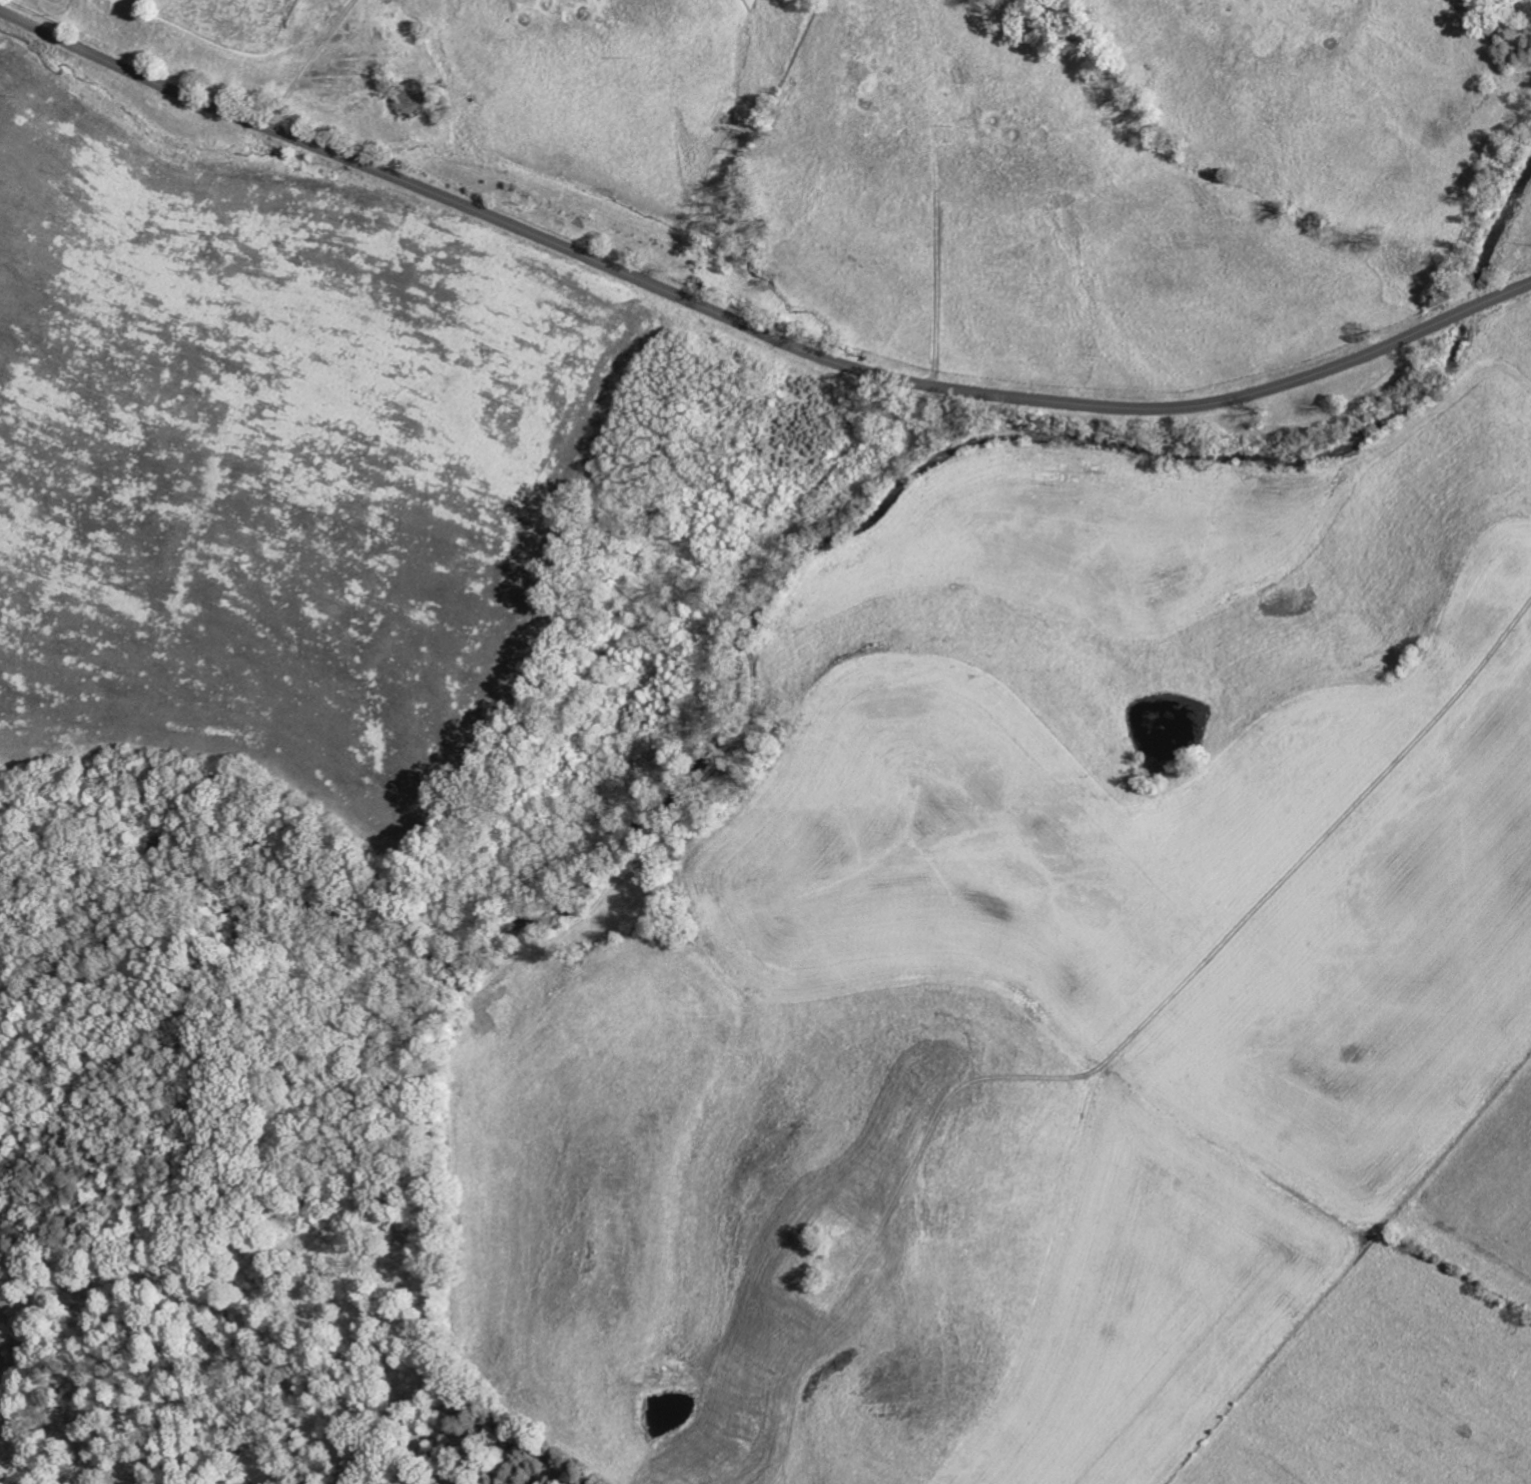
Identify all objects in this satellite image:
road: (299, 62)
road: (749, 327)
park: (828, 1259)

